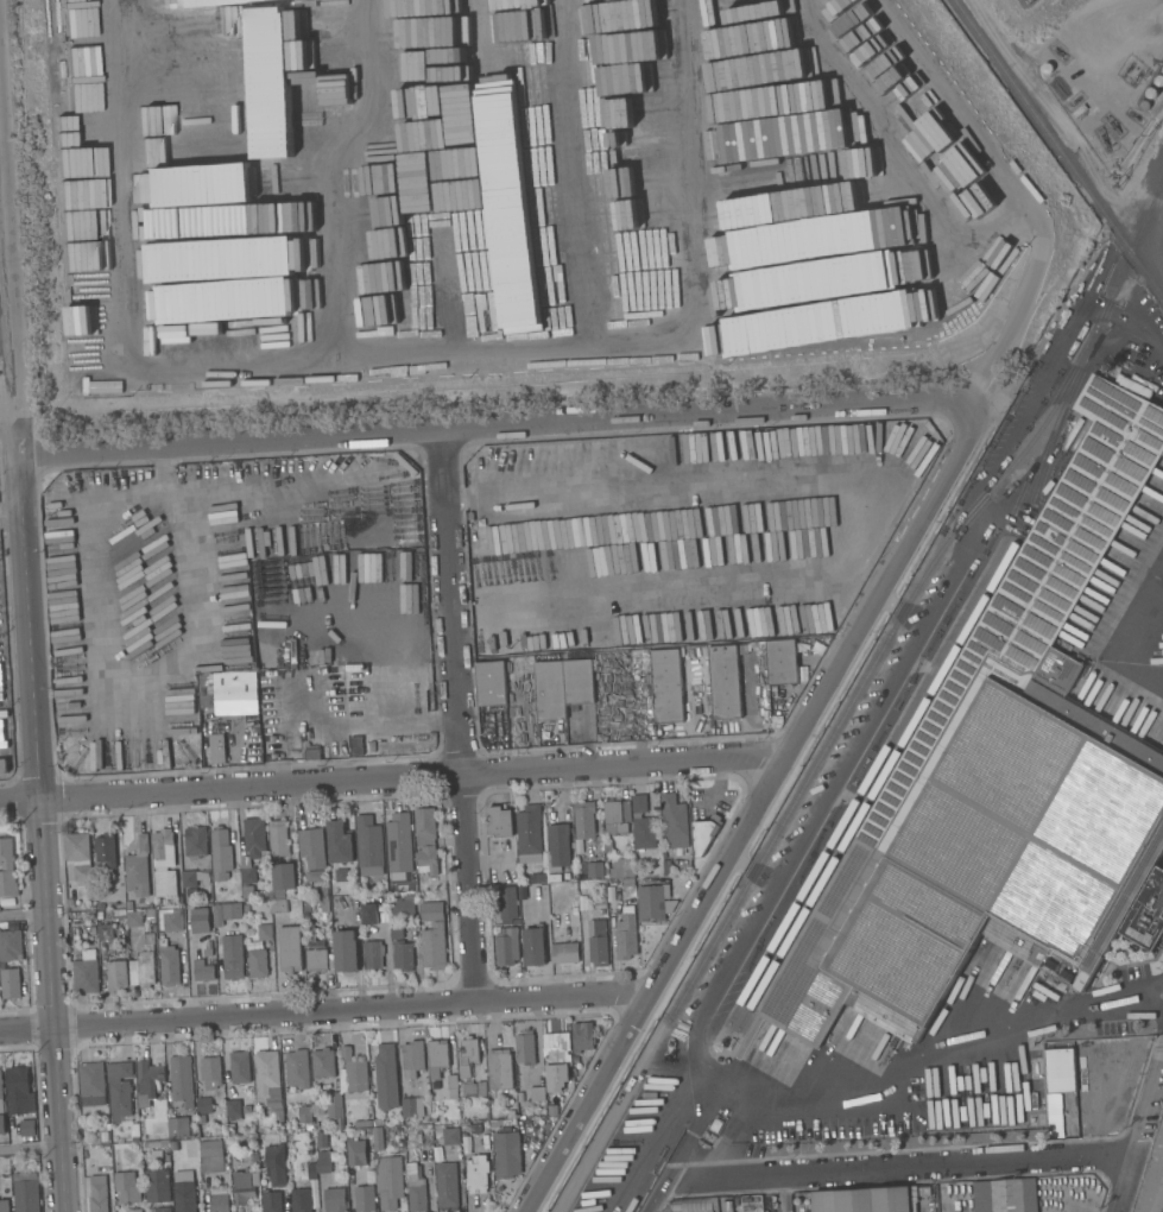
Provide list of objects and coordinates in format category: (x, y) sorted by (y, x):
petroleum well: (1057, 51)
petroleum well: (1127, 65)
petroleum well: (1136, 72)
storage tank: (1158, 80)
storage tank: (1151, 91)
petroleum well: (1073, 101)
railway: (1028, 105)
storage tank: (1144, 106)
petroleum well: (1111, 125)
petroleum well: (1101, 139)
railway: (1144, 223)
railway: (1132, 253)
building: (240, 260)
road: (7, 286)
road: (1020, 295)
road: (7, 415)
road: (503, 427)
road: (312, 500)
road: (10, 511)
road: (184, 531)
railway: (943, 652)
road: (896, 658)
building: (782, 661)
road: (303, 670)
building: (257, 671)
building: (726, 680)
building: (579, 681)
building: (492, 682)
building: (668, 684)
building: (550, 690)
building: (225, 705)
road: (457, 714)
railway: (914, 725)
road: (279, 745)
building: (355, 746)
building: (312, 753)
railway: (820, 762)
building: (4, 766)
road: (393, 781)
building: (1001, 788)
building: (617, 816)
building: (584, 819)
road: (748, 819)
building: (499, 821)
building: (674, 821)
building: (643, 826)
road: (43, 831)
building: (704, 833)
building: (529, 834)
building: (278, 838)
building: (196, 842)
building: (340, 842)
building: (425, 844)
building: (368, 846)
building: (398, 847)
building: (558, 847)
building: (106, 848)
building: (311, 848)
building: (251, 852)
building: (220, 853)
building: (78, 856)
building: (164, 864)
building: (138, 866)
building: (7, 869)
building: (594, 870)
building: (619, 870)
building: (283, 876)
building: (192, 877)
building: (278, 894)
building: (264, 895)
building: (653, 902)
building: (7, 903)
building: (129, 904)
building: (324, 904)
building: (506, 904)
building: (279, 907)
building: (403, 907)
building: (430, 910)
building: (226, 913)
building: (119, 914)
building: (150, 914)
building: (368, 914)
building: (99, 915)
road: (24, 916)
building: (133, 919)
building: (169, 919)
building: (200, 920)
building: (626, 924)
building: (106, 932)
building: (264, 932)
building: (397, 933)
building: (598, 942)
building: (162, 943)
building: (533, 945)
building: (11, 946)
building: (434, 946)
building: (508, 948)
building: (290, 949)
building: (345, 949)
building: (207, 952)
building: (564, 953)
building: (373, 954)
building: (403, 955)
building: (232, 957)
building: (316, 959)
building: (146, 960)
building: (257, 962)
building: (2, 965)
building: (169, 966)
building: (202, 970)
building: (86, 972)
building: (115, 974)
building: (10, 983)
road: (323, 1009)
building: (582, 1036)
building: (525, 1048)
building: (467, 1055)
road: (950, 1055)
building: (557, 1056)
building: (412, 1058)
building: (437, 1058)
building: (322, 1063)
building: (240, 1067)
building: (297, 1068)
building: (499, 1069)
building: (353, 1071)
building: (1061, 1071)
building: (210, 1072)
building: (267, 1073)
building: (386, 1077)
building: (181, 1079)
building: (148, 1081)
building: (451, 1081)
building: (91, 1084)
building: (120, 1087)
building: (474, 1088)
building: (18, 1090)
building: (537, 1093)
building: (520, 1096)
building: (204, 1105)
building: (412, 1106)
building: (1, 1107)
building: (233, 1107)
building: (334, 1110)
building: (552, 1110)
building: (304, 1112)
building: (279, 1117)
building: (201, 1118)
building: (378, 1122)
building: (494, 1124)
building: (134, 1125)
building: (27, 1126)
building: (178, 1126)
building: (470, 1126)
building: (368, 1131)
road: (701, 1134)
road: (1138, 1134)
building: (103, 1136)
building: (450, 1136)
building: (378, 1138)
building: (322, 1141)
building: (152, 1144)
building: (232, 1147)
road: (31, 1149)
building: (355, 1151)
building: (506, 1154)
building: (156, 1155)
building: (211, 1156)
building: (323, 1161)
building: (274, 1162)
building: (310, 1168)
building: (411, 1168)
road: (900, 1168)
building: (476, 1174)
building: (388, 1181)
building: (245, 1185)
building: (157, 1186)
building: (447, 1186)
building: (127, 1187)
building: (25, 1192)
building: (99, 1193)
road: (784, 1193)
building: (416, 1195)
building: (1005, 1195)
building: (184, 1197)
building: (219, 1198)
road: (660, 1198)
building: (334, 1199)
building: (364, 1199)
building: (301, 1200)
building: (797, 1200)
building: (870, 1200)
building: (271, 1201)
building: (4, 1206)
building: (689, 1207)
building: (163, 1208)
building: (133, 1210)

